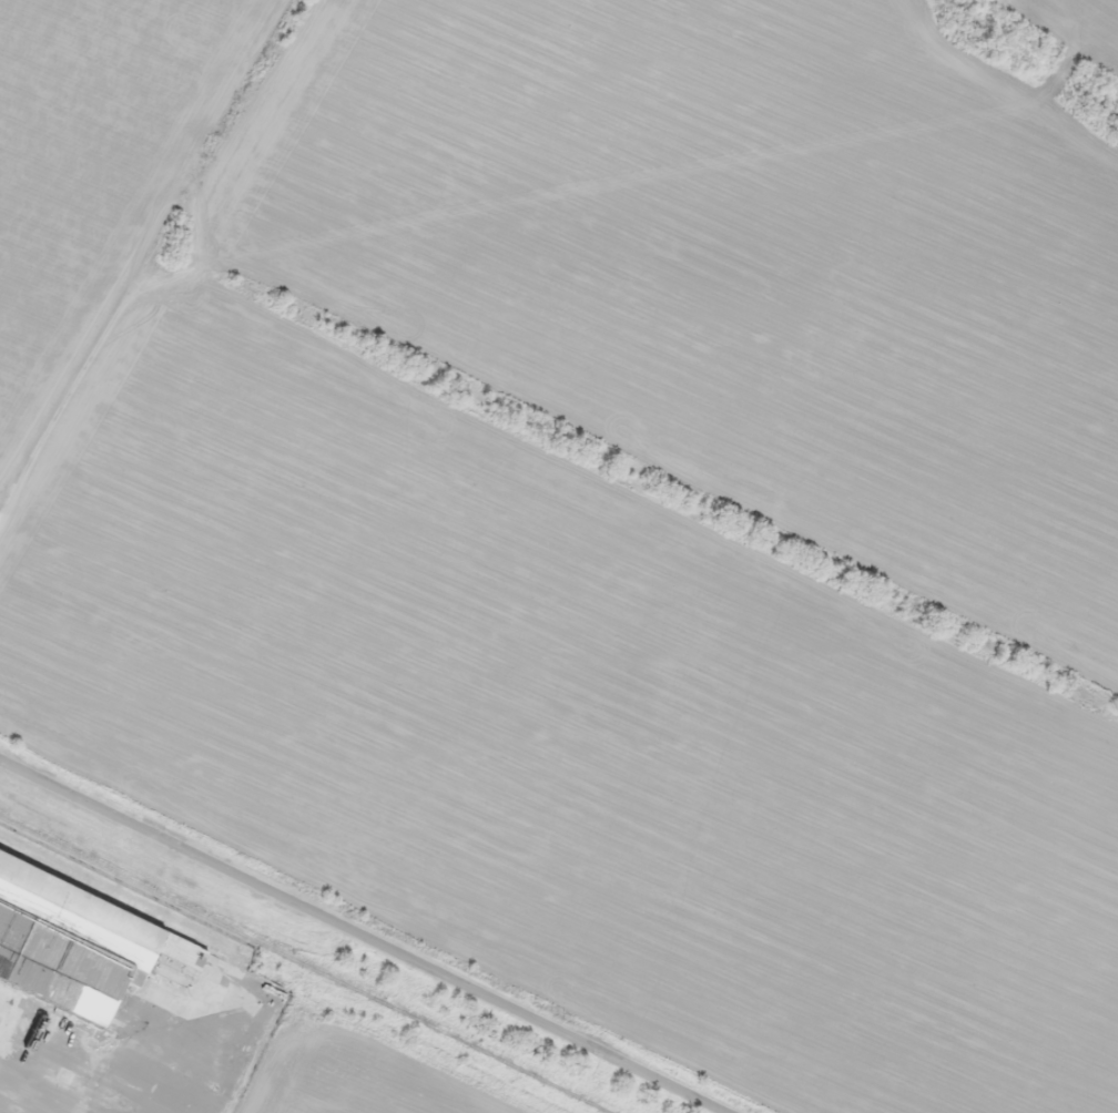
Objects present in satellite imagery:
road: (367, 936)
railway: (305, 960)

